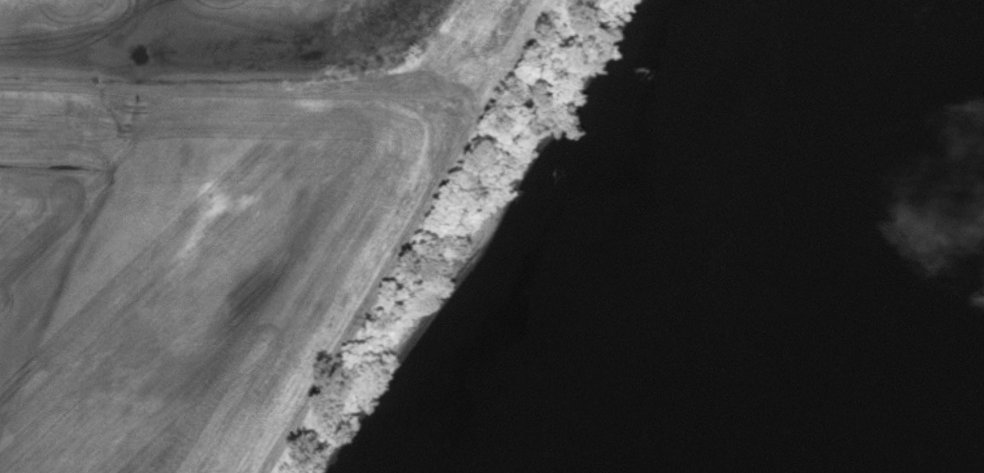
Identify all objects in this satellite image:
river: (906, 291)

